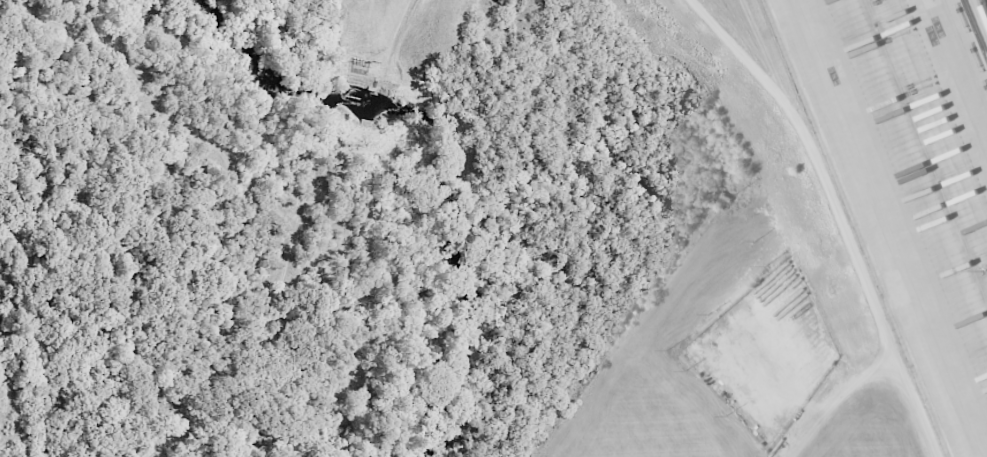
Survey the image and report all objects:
railway: (984, 5)
railway: (975, 27)
road: (815, 157)
river: (438, 159)
road: (842, 401)
road: (164, 441)

